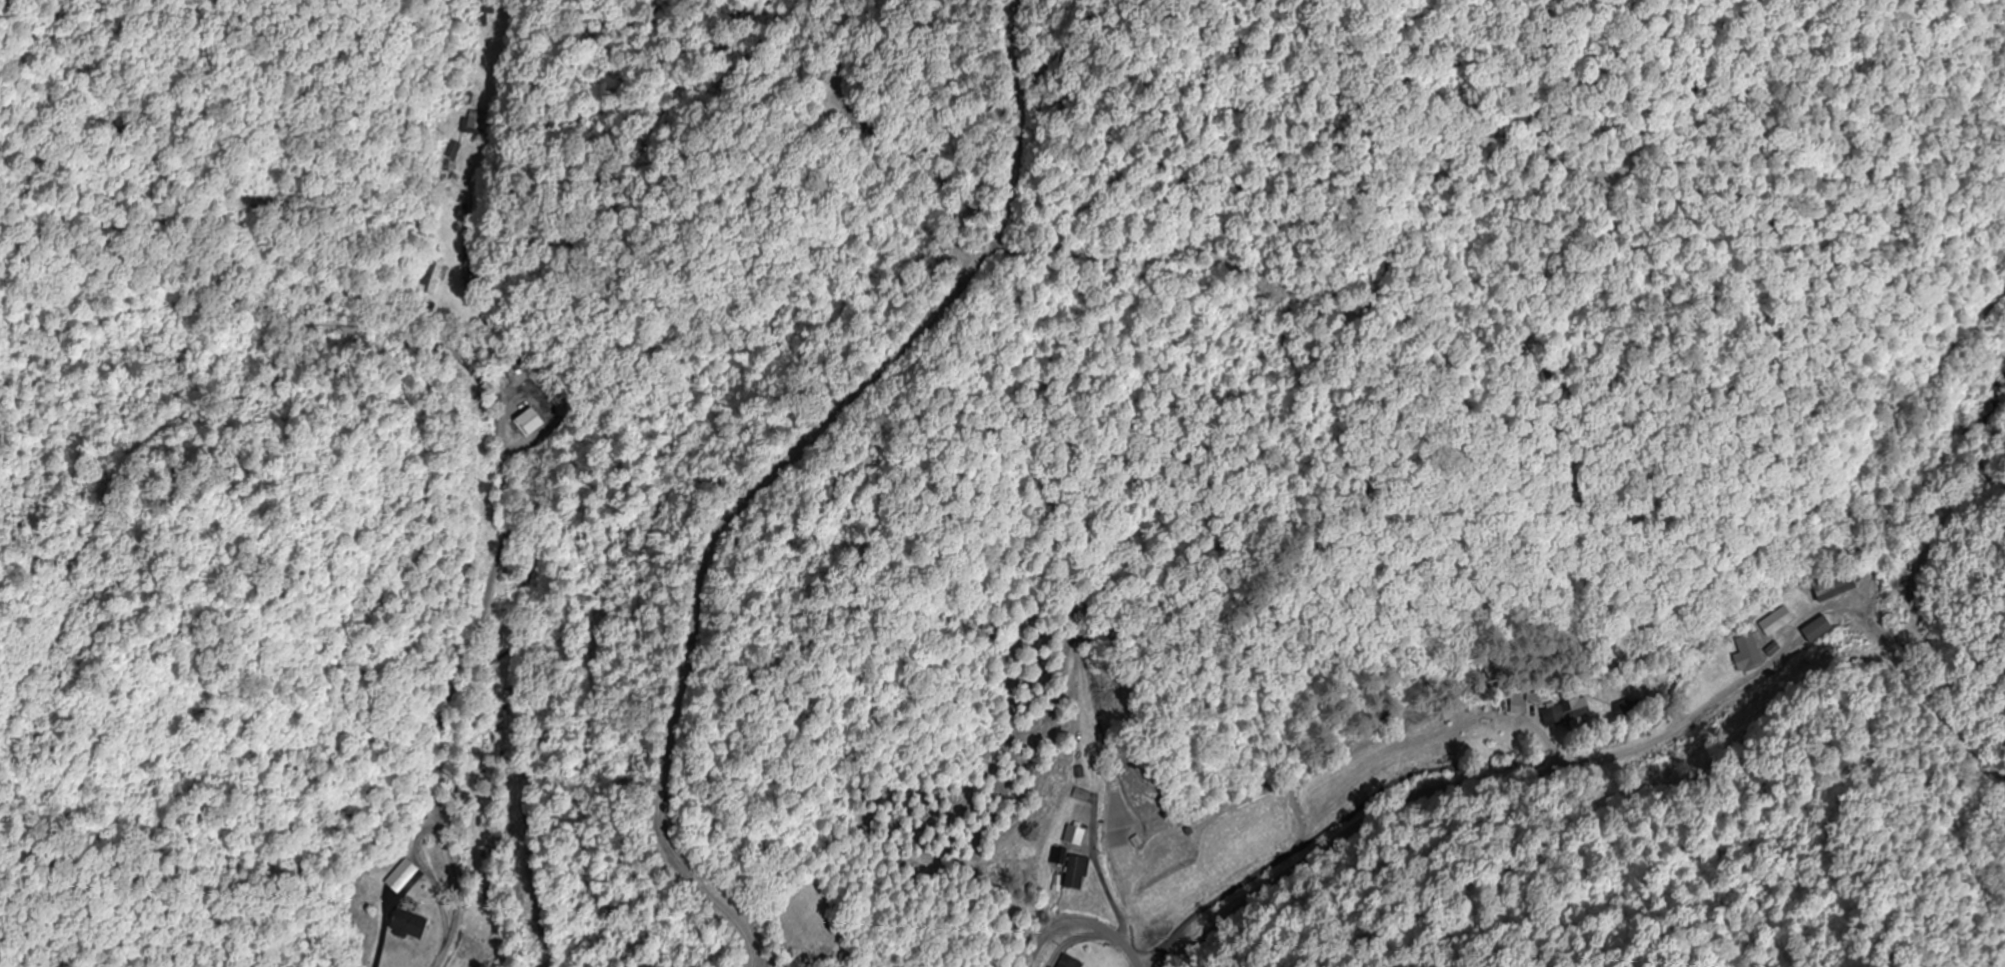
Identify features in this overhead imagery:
building: (486, 15)
building: (478, 122)
building: (532, 424)
building: (1839, 587)
building: (1750, 655)
building: (1520, 708)
building: (1568, 713)
road: (1626, 763)
building: (1077, 836)
building: (1059, 855)
building: (1080, 870)
road: (1080, 918)
building: (414, 926)
building: (1072, 962)

